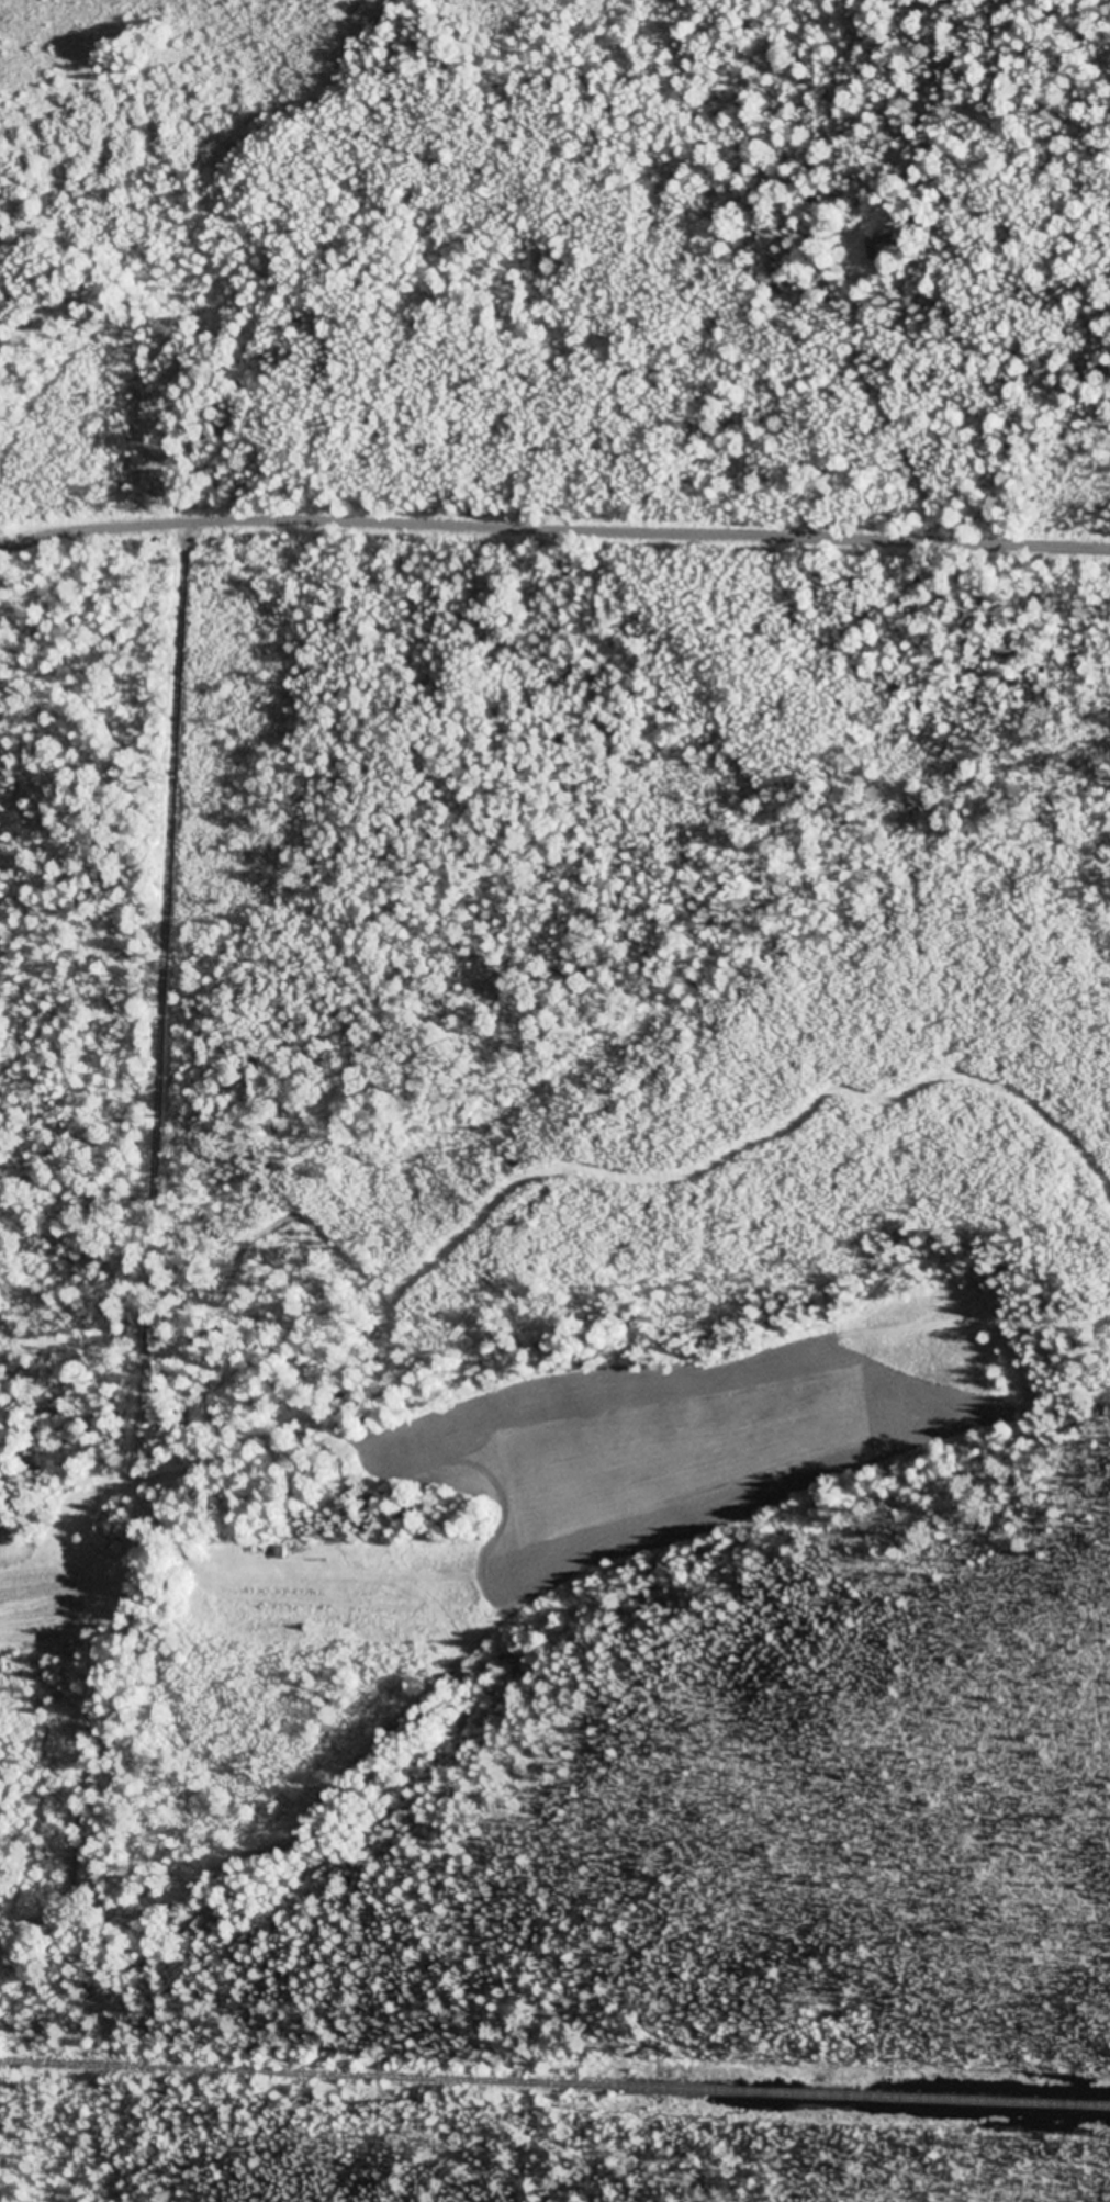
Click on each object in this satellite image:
building: (881, 247)
road: (553, 530)
road: (119, 1079)
railway: (554, 2086)

